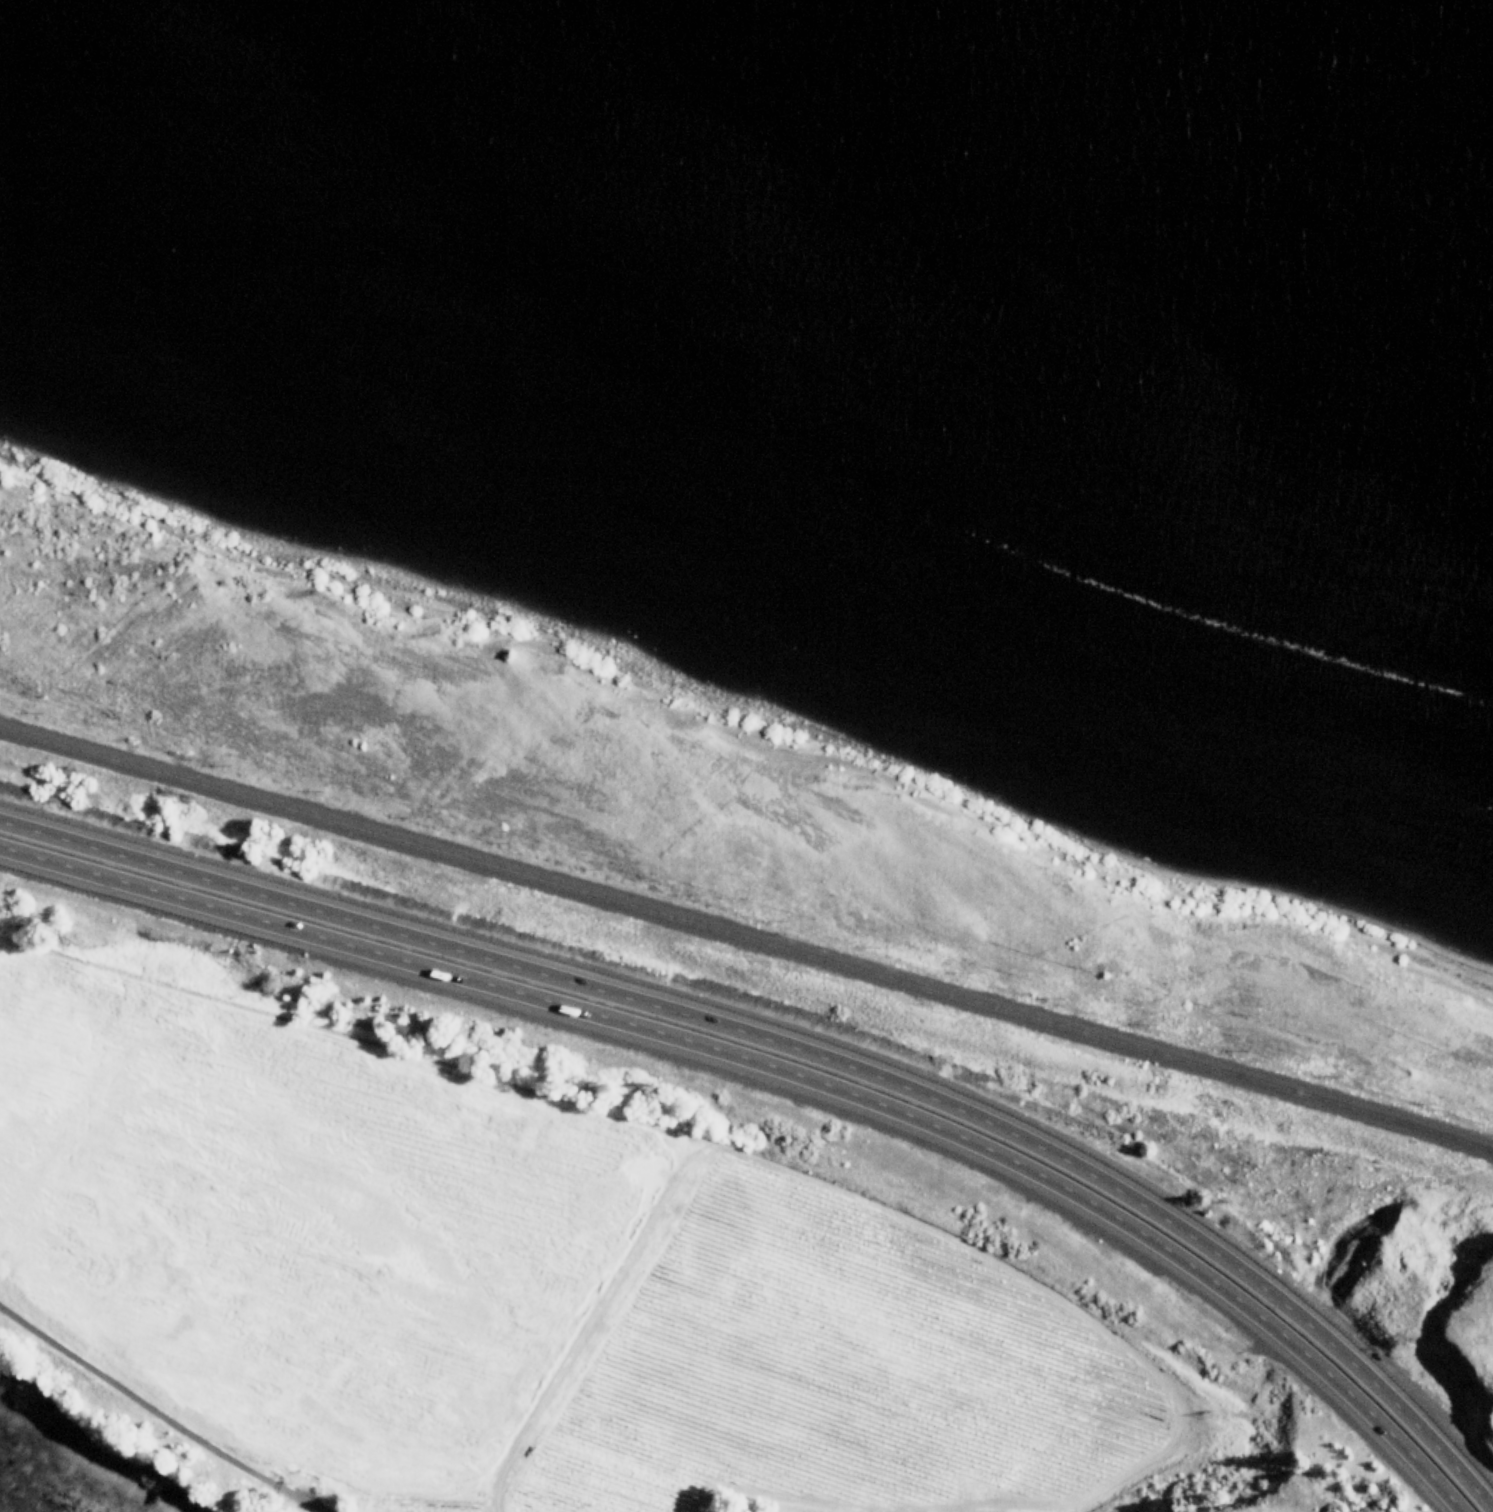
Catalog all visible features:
railway: (747, 937)
road: (805, 1052)
road: (783, 1070)
road: (160, 1416)

